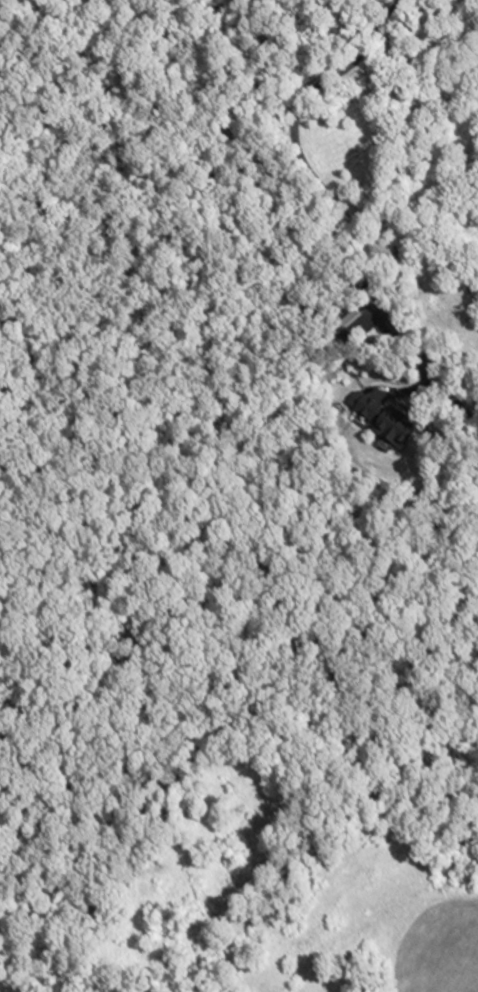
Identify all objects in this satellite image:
road: (331, 206)
building: (392, 423)

